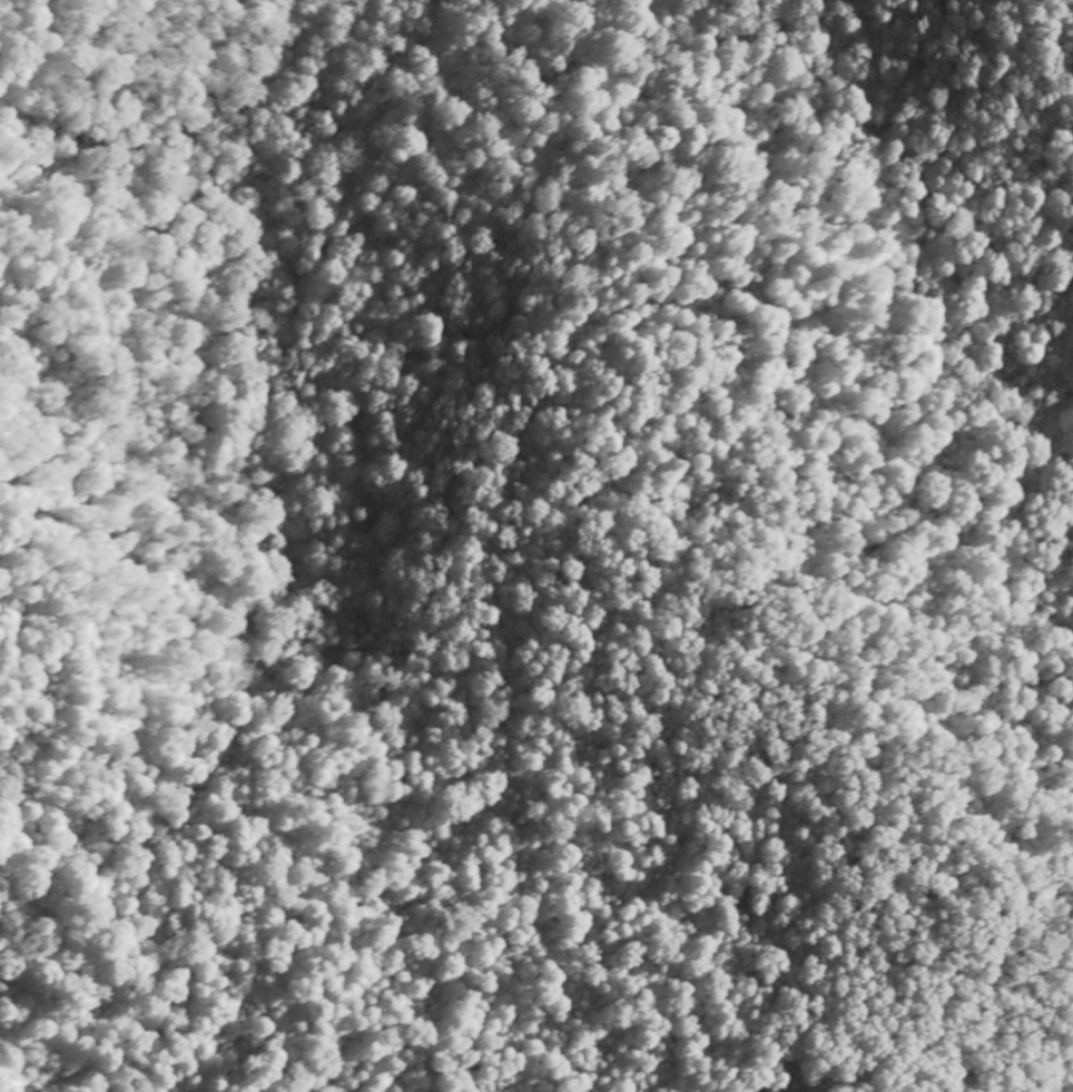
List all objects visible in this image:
road: (967, 1039)

